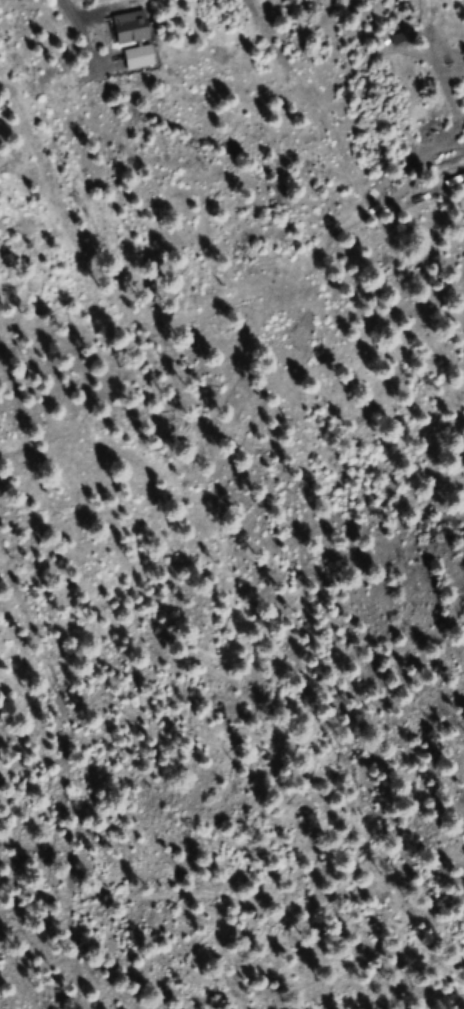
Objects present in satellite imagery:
building: (129, 29)

